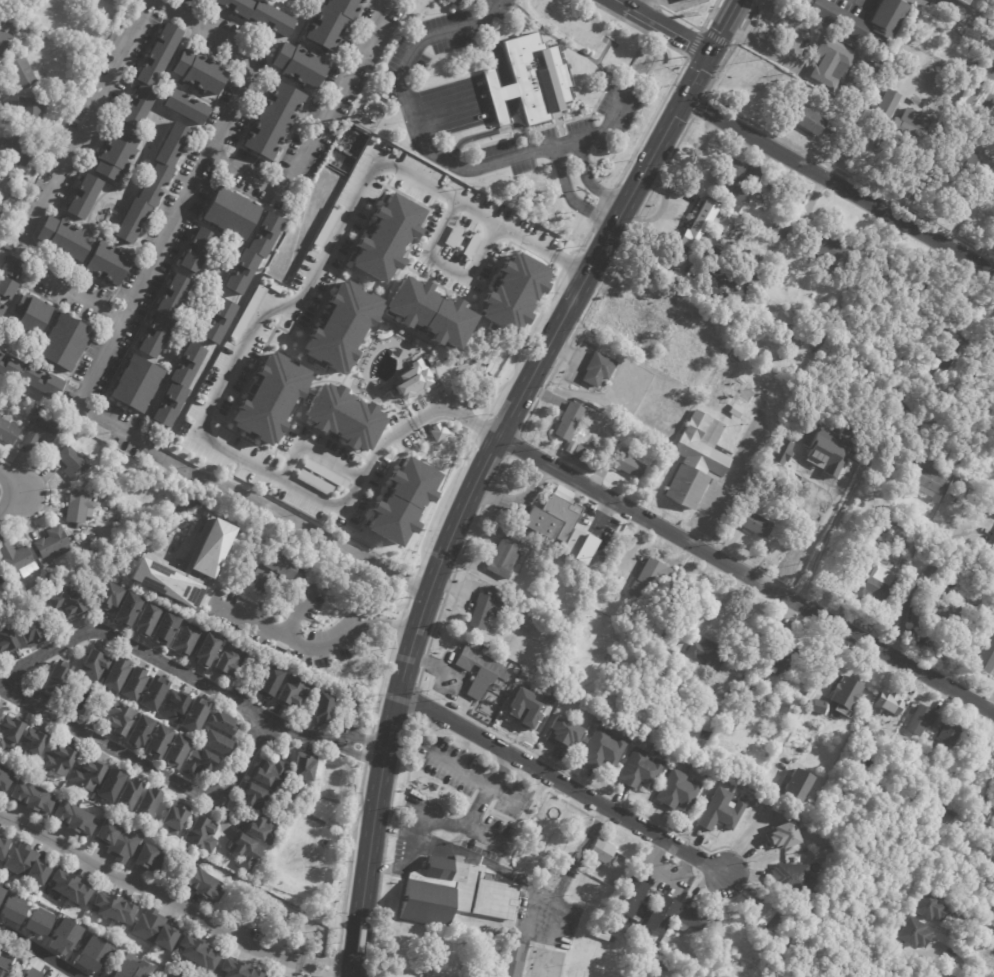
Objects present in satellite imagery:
building: (199, 0)
building: (683, 0)
road: (864, 1)
building: (454, 2)
road: (652, 2)
road: (757, 2)
building: (801, 2)
building: (960, 2)
building: (978, 4)
road: (645, 6)
building: (261, 15)
road: (963, 16)
road: (505, 17)
road: (749, 17)
building: (862, 21)
building: (333, 22)
road: (662, 25)
road: (507, 26)
road: (526, 26)
road: (693, 26)
road: (703, 29)
road: (439, 34)
road: (738, 36)
building: (6, 39)
road: (492, 39)
traffic signals: (709, 51)
road: (789, 52)
road: (443, 53)
road: (427, 54)
road: (248, 56)
building: (300, 64)
building: (829, 64)
building: (967, 67)
building: (987, 70)
road: (679, 71)
building: (200, 72)
building: (23, 73)
building: (152, 76)
building: (536, 76)
road: (495, 93)
road: (600, 95)
building: (912, 100)
building: (885, 104)
building: (186, 106)
road: (698, 107)
building: (32, 110)
building: (378, 118)
building: (275, 120)
road: (557, 122)
building: (808, 122)
building: (908, 126)
road: (490, 132)
road: (523, 132)
road: (495, 140)
road: (565, 142)
road: (418, 143)
road: (675, 146)
building: (18, 151)
building: (117, 154)
road: (821, 161)
building: (979, 168)
building: (752, 171)
building: (2, 174)
building: (34, 177)
road: (259, 179)
road: (587, 181)
road: (656, 181)
building: (730, 183)
building: (155, 185)
road: (838, 185)
building: (85, 197)
road: (569, 197)
building: (3, 200)
road: (645, 201)
road: (603, 207)
road: (660, 209)
building: (1, 213)
building: (233, 213)
road: (633, 221)
building: (698, 224)
building: (325, 227)
building: (777, 229)
building: (385, 237)
building: (64, 238)
road: (584, 243)
building: (827, 247)
building: (199, 251)
building: (255, 254)
road: (566, 260)
road: (34, 262)
road: (571, 263)
building: (109, 264)
road: (446, 266)
building: (4, 279)
building: (906, 284)
building: (720, 285)
road: (598, 286)
building: (512, 293)
building: (734, 298)
building: (2, 311)
building: (246, 312)
road: (260, 312)
building: (429, 312)
building: (34, 315)
building: (165, 317)
building: (221, 322)
building: (341, 327)
building: (822, 336)
building: (989, 339)
building: (66, 342)
road: (519, 344)
building: (814, 346)
building: (946, 347)
road: (563, 351)
road: (565, 353)
building: (780, 355)
building: (733, 356)
building: (594, 368)
road: (550, 374)
building: (32, 376)
building: (411, 380)
building: (139, 385)
building: (180, 385)
road: (539, 394)
road: (543, 395)
building: (906, 397)
building: (269, 398)
road: (459, 400)
building: (733, 410)
building: (40, 412)
road: (427, 413)
road: (527, 415)
building: (342, 416)
road: (469, 420)
building: (567, 421)
road: (476, 424)
building: (437, 432)
building: (8, 433)
building: (42, 434)
road: (512, 444)
road: (312, 449)
building: (574, 450)
building: (108, 455)
building: (696, 460)
building: (624, 462)
building: (74, 464)
road: (482, 465)
road: (499, 470)
building: (325, 473)
building: (928, 477)
road: (728, 479)
building: (771, 480)
building: (313, 482)
building: (94, 491)
road: (22, 492)
road: (48, 493)
building: (106, 493)
road: (486, 494)
building: (401, 501)
road: (438, 504)
building: (78, 506)
road: (519, 507)
road: (477, 514)
building: (552, 518)
road: (291, 520)
road: (836, 521)
building: (754, 523)
road: (470, 529)
building: (992, 541)
building: (50, 542)
road: (464, 544)
building: (577, 545)
building: (209, 547)
road: (484, 552)
building: (19, 560)
road: (458, 560)
building: (498, 562)
building: (0, 565)
building: (270, 568)
road: (214, 569)
road: (453, 572)
road: (745, 573)
building: (654, 581)
building: (163, 582)
road: (410, 585)
road: (447, 586)
building: (874, 586)
road: (450, 587)
road: (208, 593)
building: (113, 597)
building: (70, 602)
road: (263, 604)
road: (360, 606)
building: (129, 608)
building: (479, 608)
road: (297, 611)
building: (915, 615)
building: (148, 618)
road: (293, 618)
road: (434, 623)
building: (949, 623)
building: (166, 627)
road: (395, 627)
building: (31, 633)
building: (8, 638)
building: (188, 639)
road: (309, 647)
building: (208, 649)
building: (779, 652)
building: (706, 653)
building: (985, 655)
building: (967, 656)
building: (230, 661)
road: (423, 662)
road: (163, 663)
building: (95, 665)
road: (439, 668)
building: (514, 671)
building: (117, 673)
building: (675, 674)
building: (58, 677)
building: (485, 678)
road: (418, 679)
building: (135, 682)
building: (271, 682)
road: (379, 685)
building: (294, 692)
building: (746, 692)
building: (155, 693)
road: (811, 694)
building: (841, 694)
road: (411, 700)
building: (887, 703)
building: (176, 706)
building: (324, 706)
building: (817, 706)
building: (689, 708)
building: (1, 714)
building: (197, 714)
building: (787, 716)
building: (119, 719)
building: (886, 719)
building: (919, 720)
building: (804, 721)
building: (224, 722)
building: (730, 722)
road: (530, 730)
building: (141, 731)
building: (11, 732)
building: (562, 734)
building: (947, 734)
road: (334, 737)
road: (364, 739)
building: (159, 740)
building: (217, 742)
building: (341, 742)
road: (333, 743)
building: (32, 746)
road: (368, 748)
building: (601, 750)
building: (179, 751)
building: (667, 751)
road: (360, 756)
building: (59, 759)
building: (672, 761)
building: (202, 762)
building: (306, 767)
road: (395, 767)
road: (147, 768)
building: (638, 772)
building: (273, 774)
building: (89, 775)
building: (5, 778)
building: (707, 780)
road: (561, 783)
building: (113, 784)
building: (793, 785)
building: (430, 786)
building: (675, 791)
building: (130, 794)
road: (607, 794)
building: (32, 797)
building: (259, 798)
building: (149, 803)
building: (720, 811)
road: (474, 815)
building: (176, 816)
building: (75, 818)
building: (265, 830)
road: (385, 830)
building: (204, 833)
building: (783, 835)
building: (117, 840)
building: (325, 842)
building: (4, 847)
road: (411, 848)
road: (383, 849)
building: (247, 851)
road: (578, 851)
building: (599, 851)
building: (150, 858)
road: (350, 858)
building: (786, 858)
building: (28, 864)
road: (380, 868)
road: (659, 872)
building: (789, 878)
building: (205, 884)
building: (71, 887)
road: (533, 887)
road: (149, 890)
road: (543, 892)
building: (453, 893)
building: (628, 897)
building: (924, 907)
building: (115, 908)
building: (988, 908)
building: (658, 915)
building: (761, 915)
building: (687, 920)
road: (372, 925)
building: (725, 929)
building: (157, 930)
building: (912, 934)
building: (600, 935)
building: (63, 937)
building: (200, 951)
road: (39, 952)
building: (92, 953)
road: (326, 960)
building: (512, 960)
road: (956, 961)
road: (335, 964)
building: (659, 965)
building: (128, 968)
building: (238, 969)
road: (318, 972)
building: (29, 973)
building: (167, 975)
building: (284, 976)

